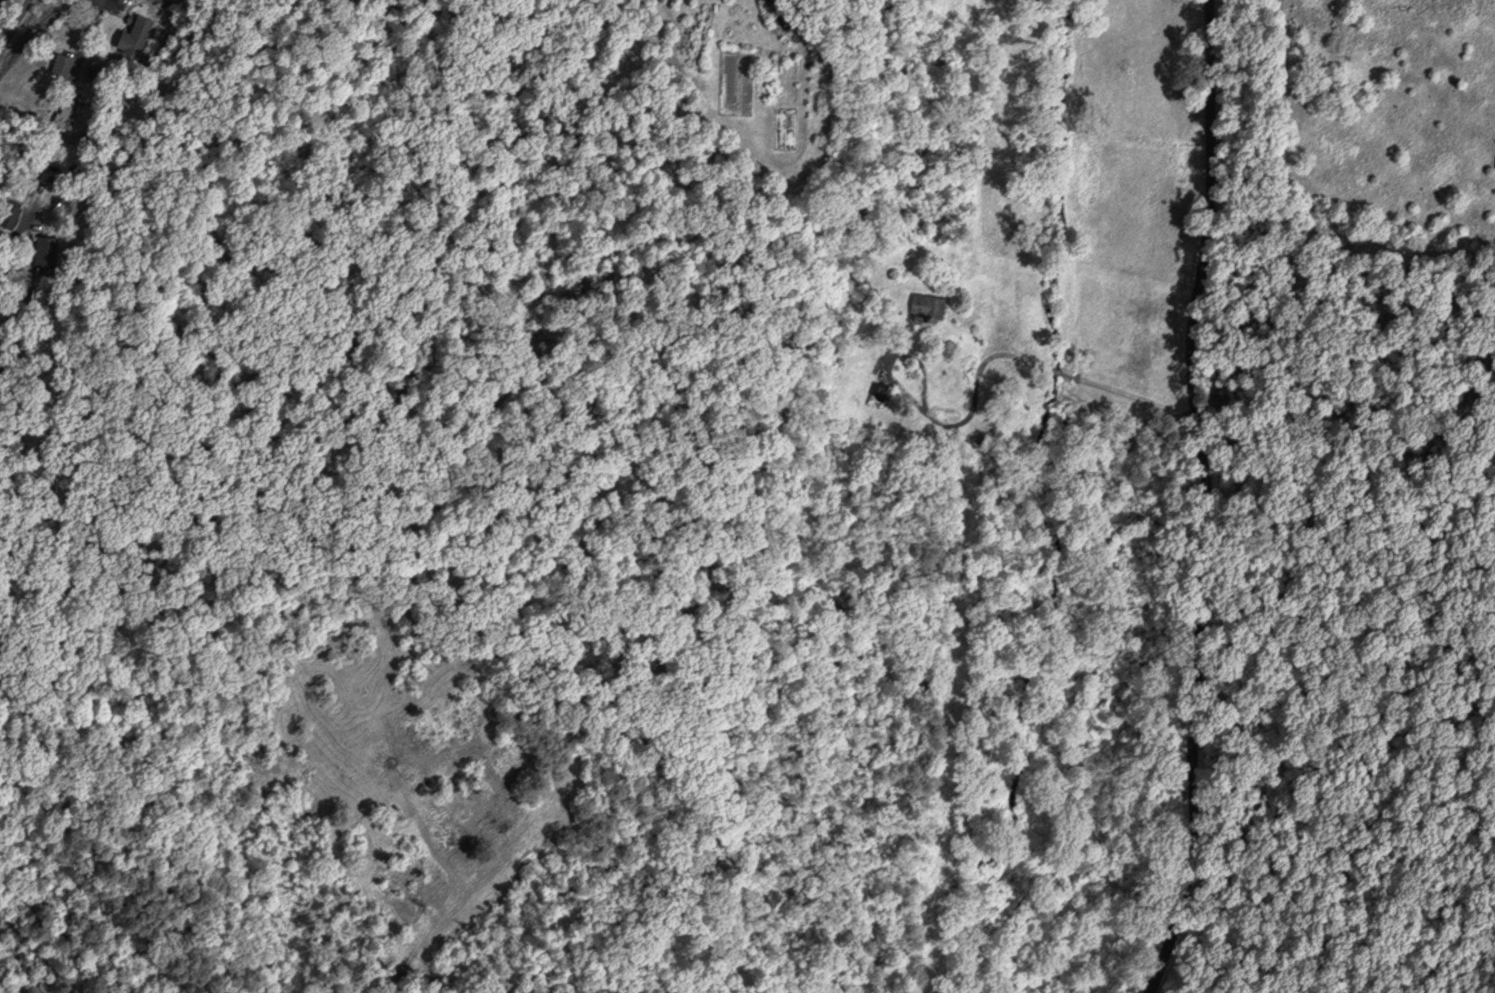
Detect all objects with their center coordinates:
building: (2, 4)
road: (12, 27)
road: (35, 28)
building: (134, 36)
building: (66, 111)
building: (8, 216)
building: (45, 252)
building: (926, 306)
road: (1056, 373)
road: (1068, 376)
road: (1076, 379)
road: (1139, 400)
road: (972, 411)
road: (1208, 499)

